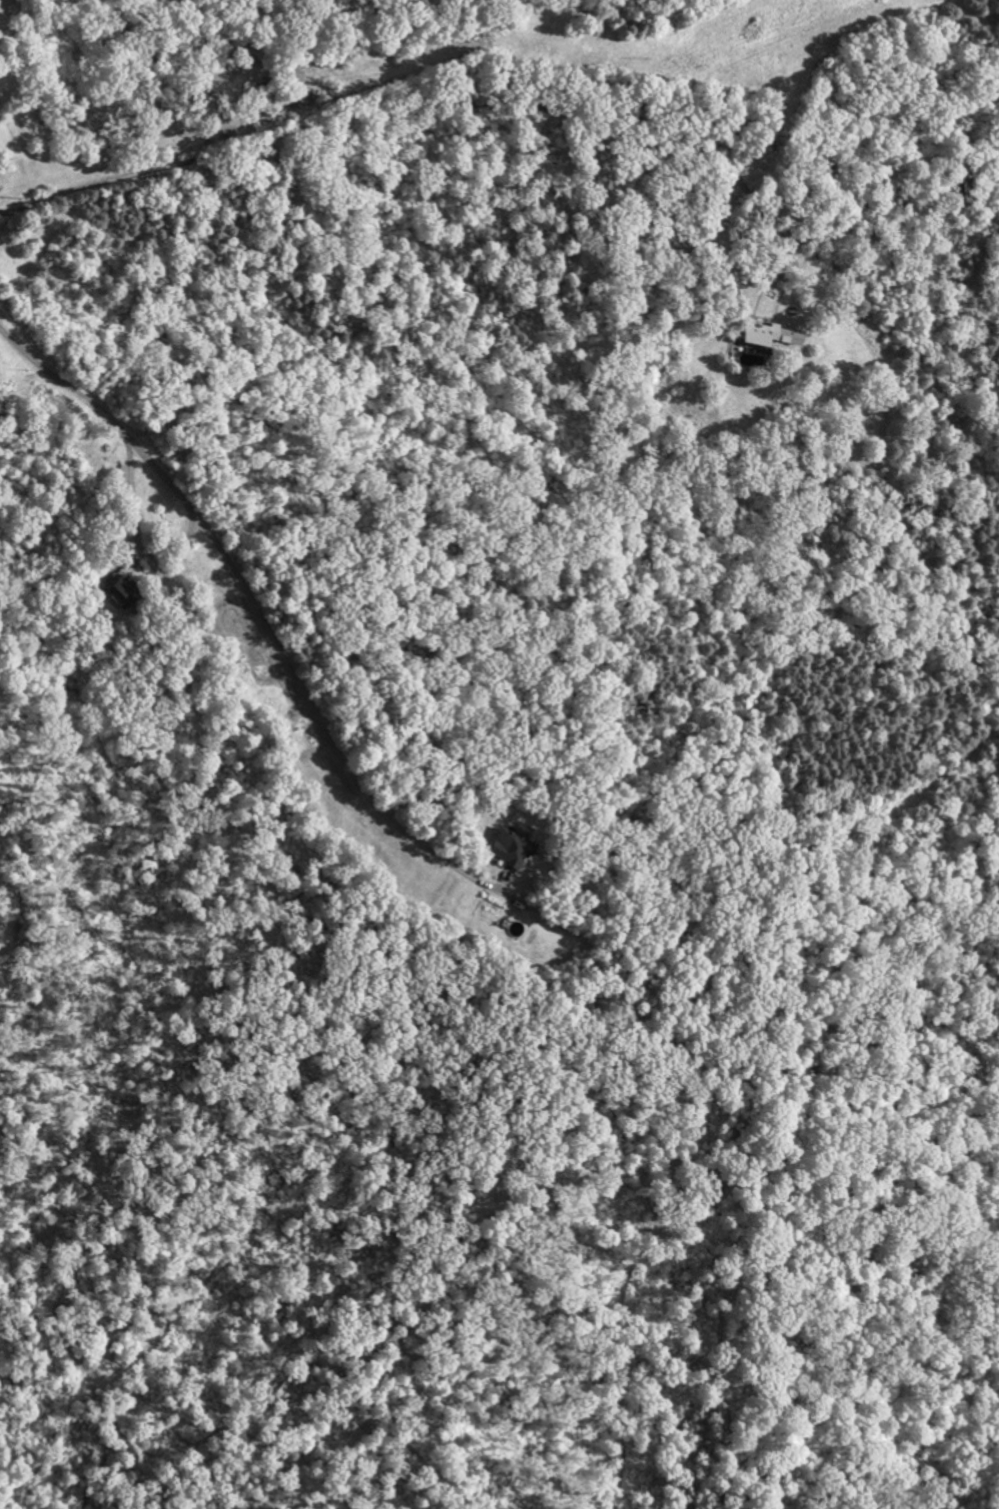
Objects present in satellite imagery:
building: (9, 86)
road: (438, 100)
building: (15, 118)
building: (814, 318)
building: (167, 576)
road: (255, 614)
building: (552, 833)

